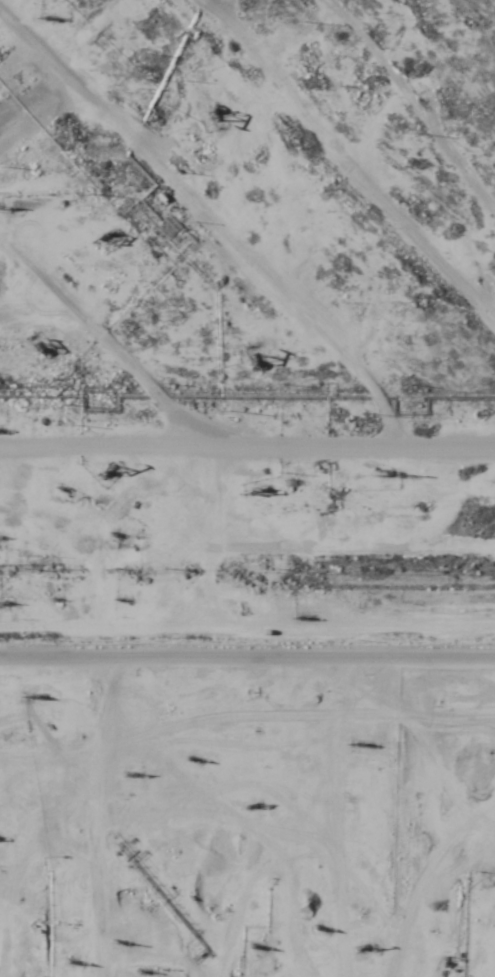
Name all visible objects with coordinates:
road: (284, 94)
road: (152, 151)
road: (378, 176)
road: (295, 291)
road: (104, 329)
road: (247, 445)
road: (247, 641)
road: (236, 710)
road: (253, 902)

